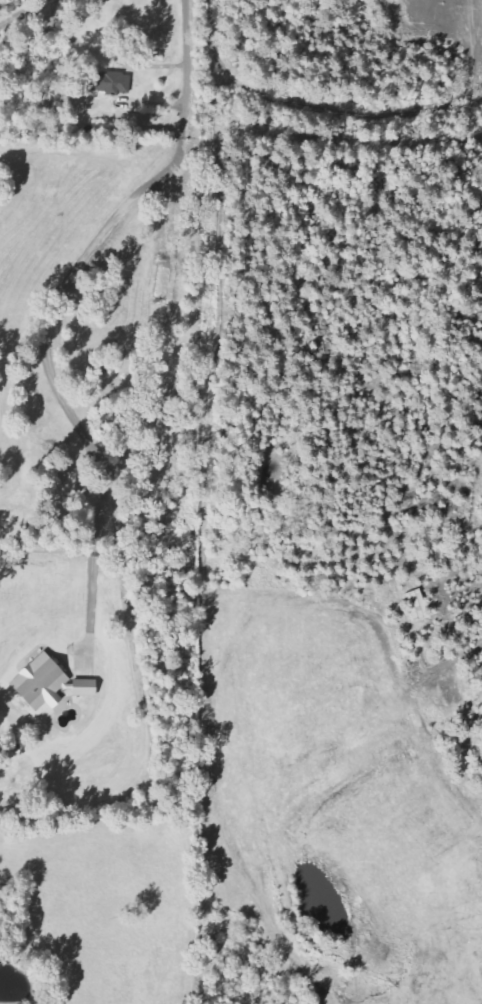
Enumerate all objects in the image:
road: (187, 69)
building: (419, 605)
building: (45, 683)

